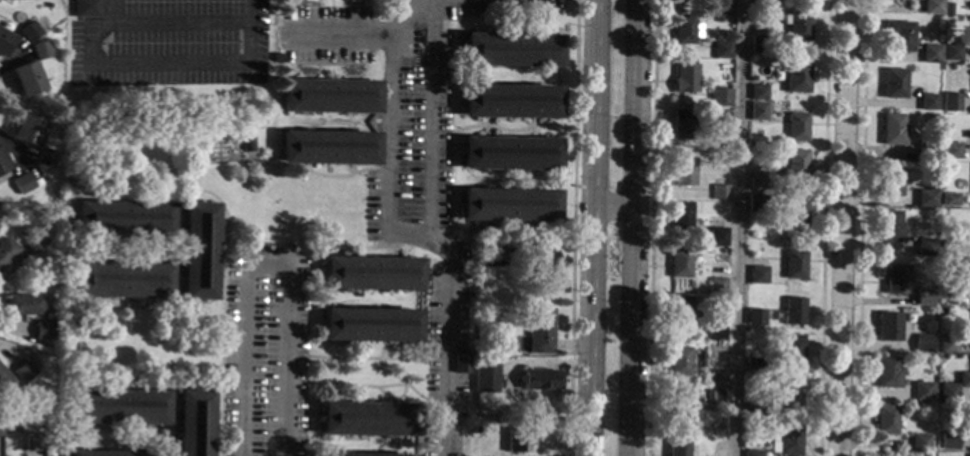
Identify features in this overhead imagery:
building: (761, 4)
road: (512, 5)
building: (723, 6)
building: (85, 7)
building: (932, 7)
road: (511, 18)
building: (721, 19)
road: (178, 20)
road: (293, 21)
building: (797, 25)
road: (510, 26)
building: (686, 29)
building: (29, 31)
building: (899, 34)
road: (356, 35)
road: (364, 35)
building: (4, 41)
building: (758, 44)
building: (511, 49)
building: (721, 49)
building: (41, 50)
building: (951, 50)
building: (930, 53)
building: (278, 57)
road: (163, 66)
building: (948, 68)
building: (794, 76)
road: (307, 77)
building: (25, 78)
road: (351, 78)
building: (684, 78)
building: (893, 82)
building: (758, 91)
building: (328, 95)
building: (720, 97)
building: (927, 100)
building: (509, 101)
building: (950, 102)
building: (758, 110)
building: (931, 117)
building: (720, 119)
road: (358, 120)
road: (349, 121)
building: (682, 123)
road: (489, 125)
road: (486, 126)
building: (797, 126)
road: (532, 128)
building: (26, 129)
building: (892, 129)
road: (436, 131)
building: (327, 147)
road: (11, 149)
building: (926, 149)
building: (950, 149)
road: (387, 150)
building: (509, 153)
building: (45, 157)
building: (796, 163)
building: (2, 164)
road: (350, 169)
building: (683, 170)
road: (349, 174)
building: (758, 180)
building: (889, 180)
building: (22, 182)
building: (719, 191)
road: (143, 195)
building: (925, 198)
building: (950, 198)
building: (757, 202)
building: (507, 204)
road: (611, 208)
building: (795, 212)
building: (680, 216)
building: (120, 218)
road: (590, 223)
building: (890, 226)
road: (631, 227)
road: (572, 228)
road: (650, 228)
road: (736, 228)
road: (824, 228)
road: (842, 228)
road: (860, 228)
road: (481, 229)
road: (426, 234)
building: (717, 236)
road: (378, 238)
road: (450, 241)
building: (34, 242)
building: (925, 247)
road: (352, 248)
building: (949, 248)
building: (6, 250)
building: (195, 250)
road: (347, 252)
building: (494, 255)
building: (542, 262)
building: (679, 262)
road: (221, 263)
building: (794, 264)
road: (296, 266)
road: (264, 268)
building: (370, 272)
building: (758, 274)
building: (894, 277)
building: (118, 280)
building: (38, 284)
building: (716, 285)
building: (948, 296)
building: (922, 297)
building: (479, 300)
road: (139, 302)
building: (24, 304)
building: (793, 309)
building: (681, 310)
road: (155, 311)
building: (726, 316)
building: (754, 316)
building: (369, 324)
building: (888, 325)
building: (42, 330)
building: (714, 330)
building: (537, 331)
road: (347, 342)
road: (391, 343)
building: (922, 343)
building: (947, 343)
building: (789, 351)
road: (365, 358)
building: (677, 360)
building: (460, 361)
building: (754, 365)
building: (23, 371)
road: (230, 371)
building: (887, 371)
road: (154, 372)
building: (486, 377)
building: (717, 377)
building: (540, 379)
building: (964, 379)
building: (4, 380)
road: (138, 386)
road: (368, 386)
building: (923, 391)
building: (948, 392)
building: (788, 394)
building: (713, 396)
road: (346, 401)
road: (390, 401)
building: (678, 404)
building: (116, 406)
building: (754, 407)
road: (213, 416)
building: (367, 418)
road: (228, 419)
building: (886, 419)
building: (969, 419)
building: (191, 423)
building: (474, 428)
building: (517, 440)
building: (788, 440)
building: (948, 440)
building: (33, 441)
building: (920, 442)
building: (675, 446)
road: (584, 452)
building: (752, 452)
building: (112, 453)
building: (364, 454)
building: (969, 454)

